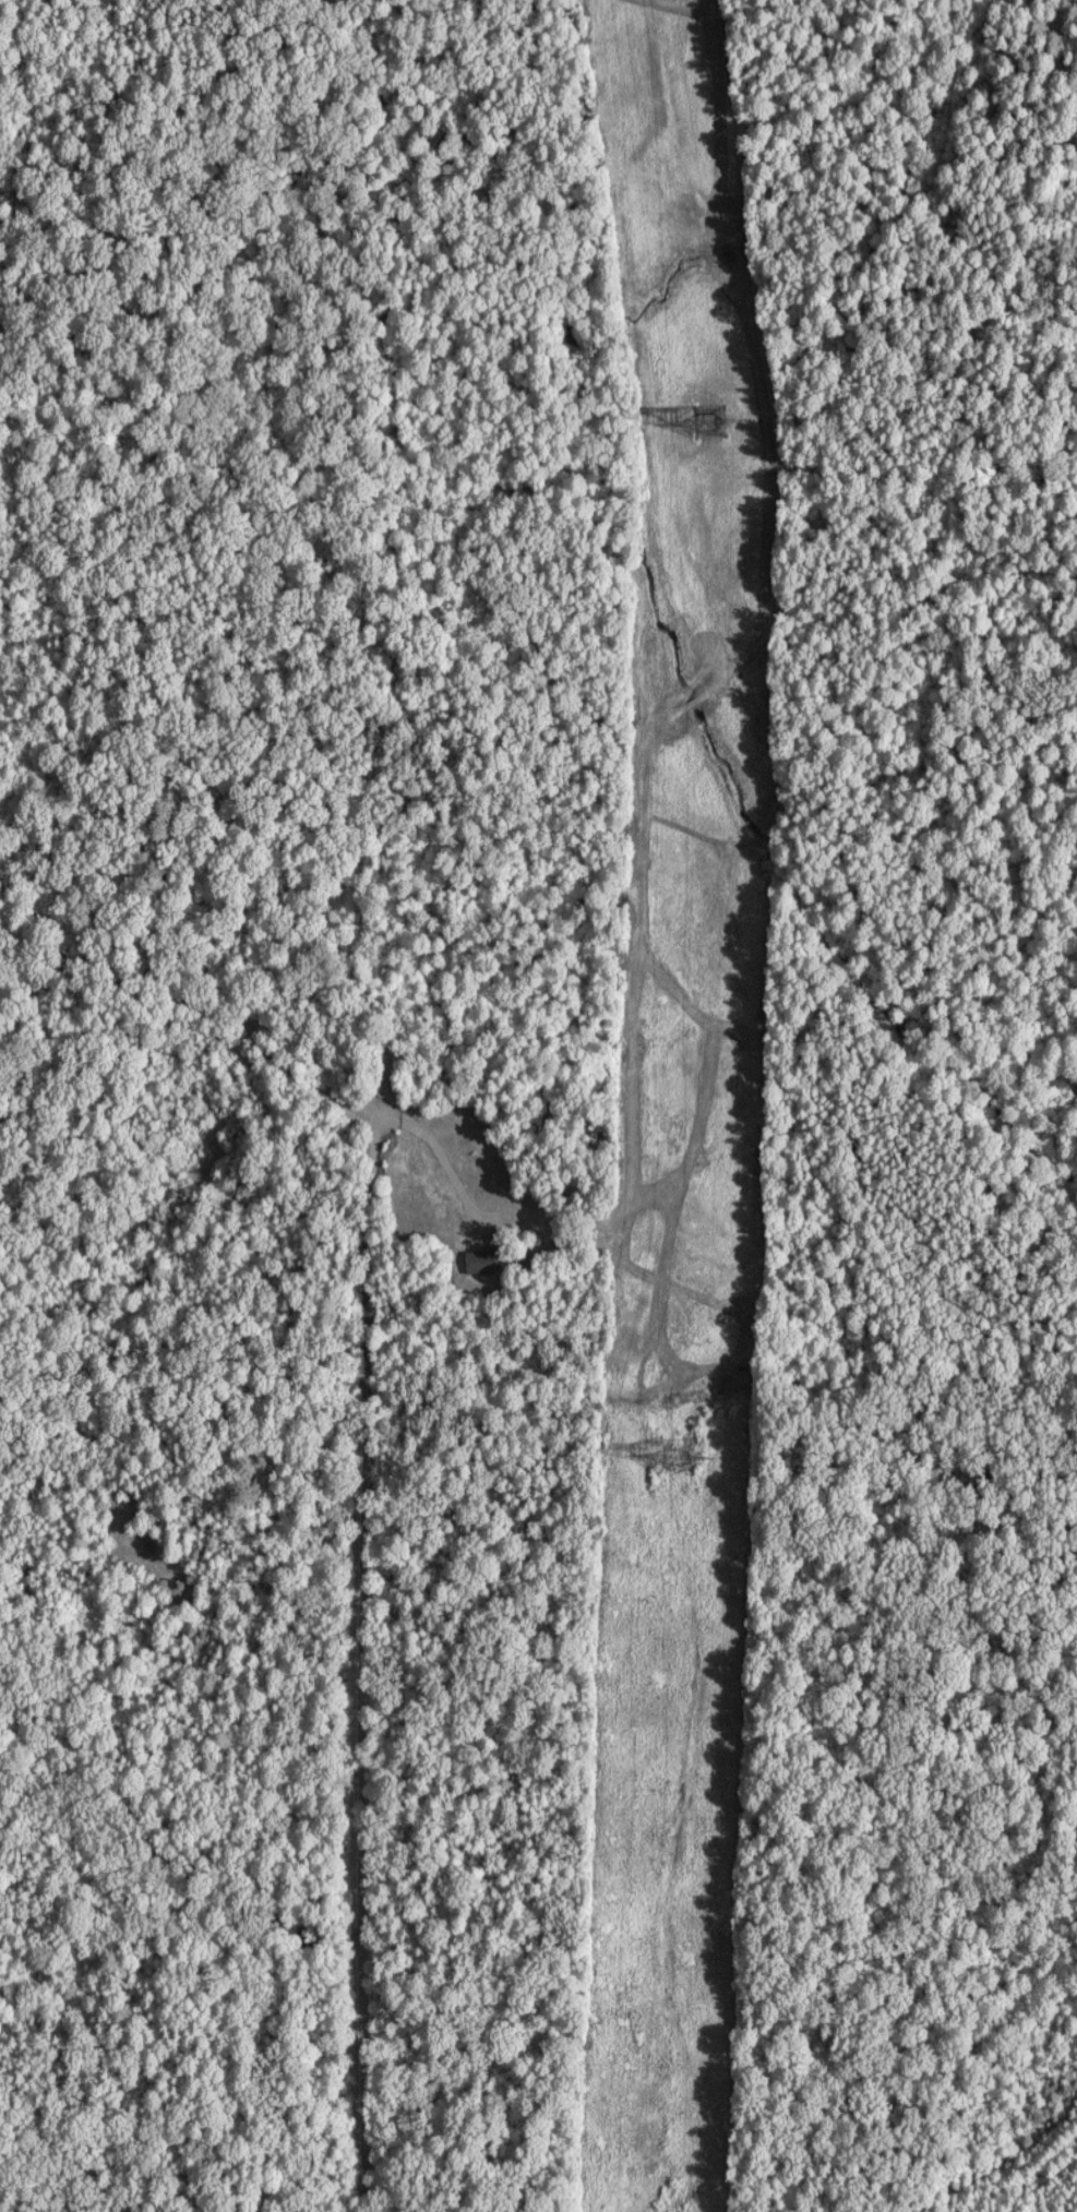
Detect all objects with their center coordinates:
power tower: (709, 422)
road: (438, 1149)
building: (477, 1262)
power tower: (680, 1455)
road: (362, 1587)

